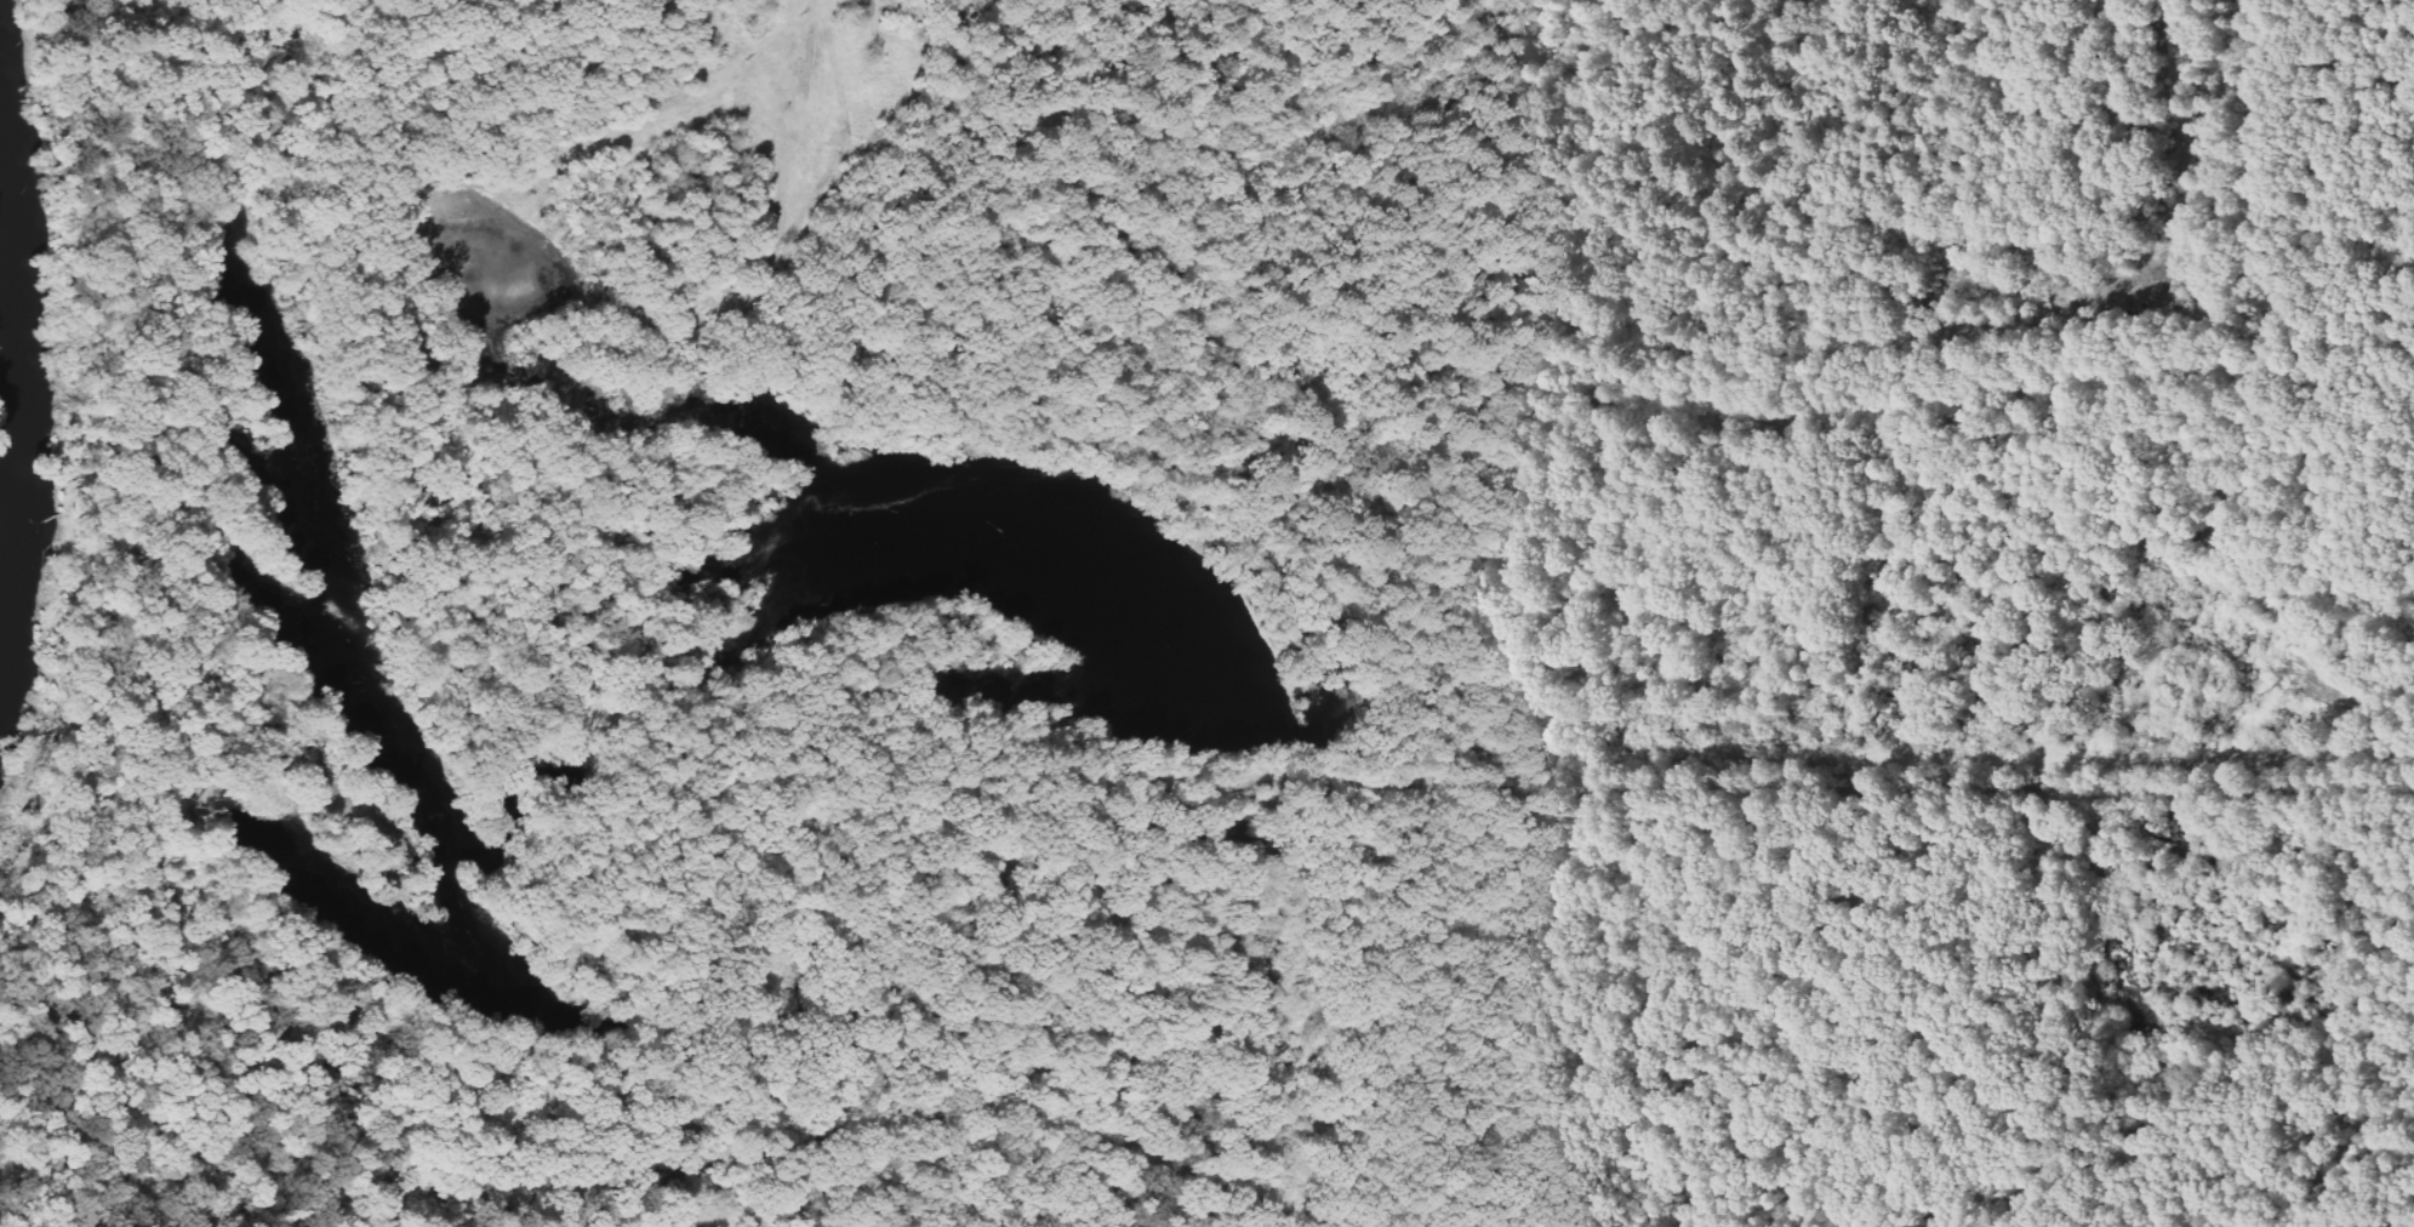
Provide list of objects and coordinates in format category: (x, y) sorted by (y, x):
road: (1004, 167)
river: (29, 359)
road: (1676, 361)
road: (119, 387)
road: (1534, 791)
road: (1082, 914)
road: (2064, 932)
road: (1422, 1006)
road: (451, 1038)

